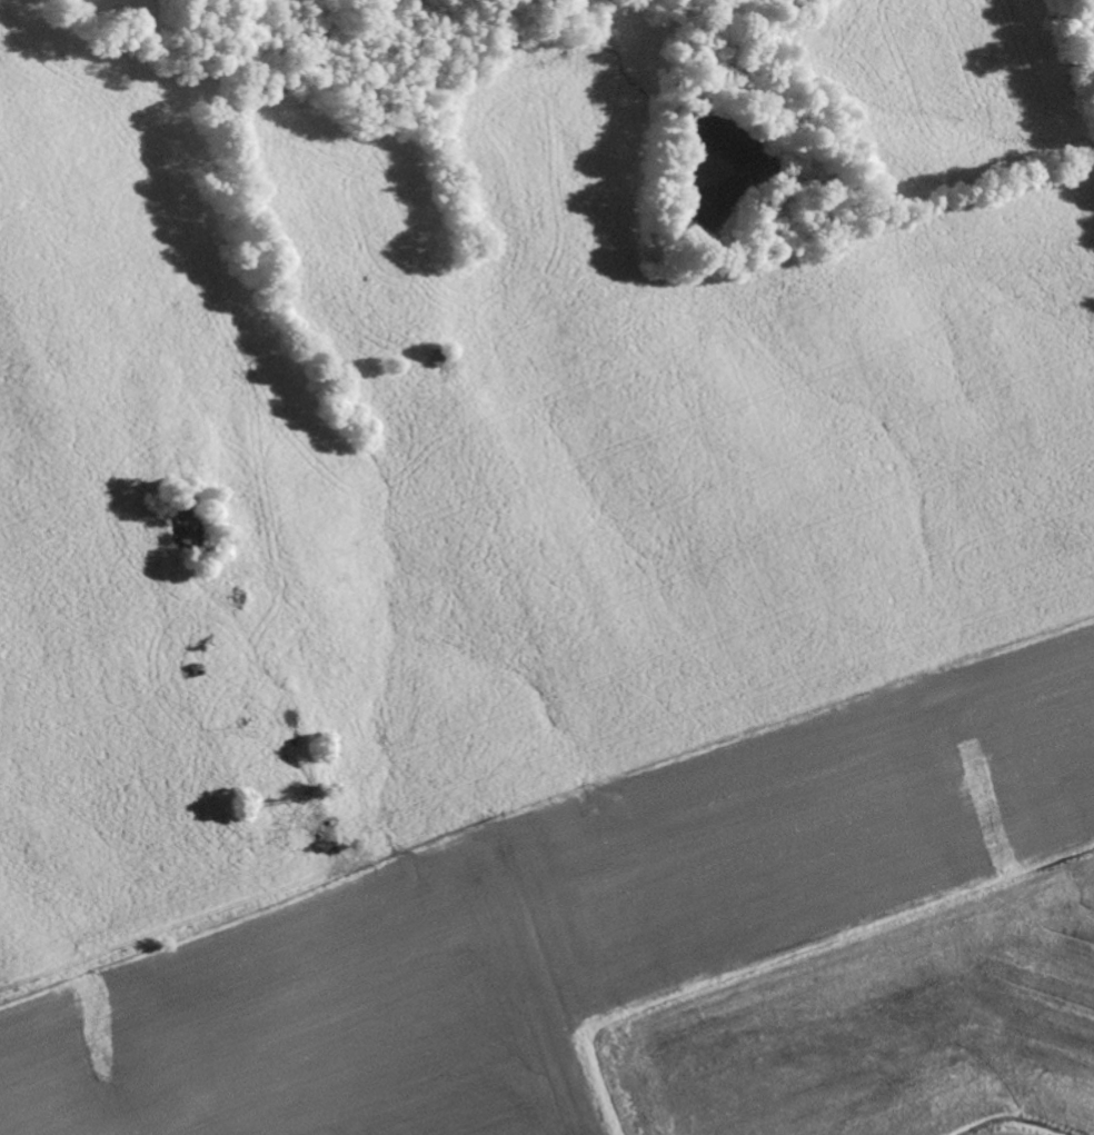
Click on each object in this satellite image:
building: (190, 673)
road: (129, 938)

